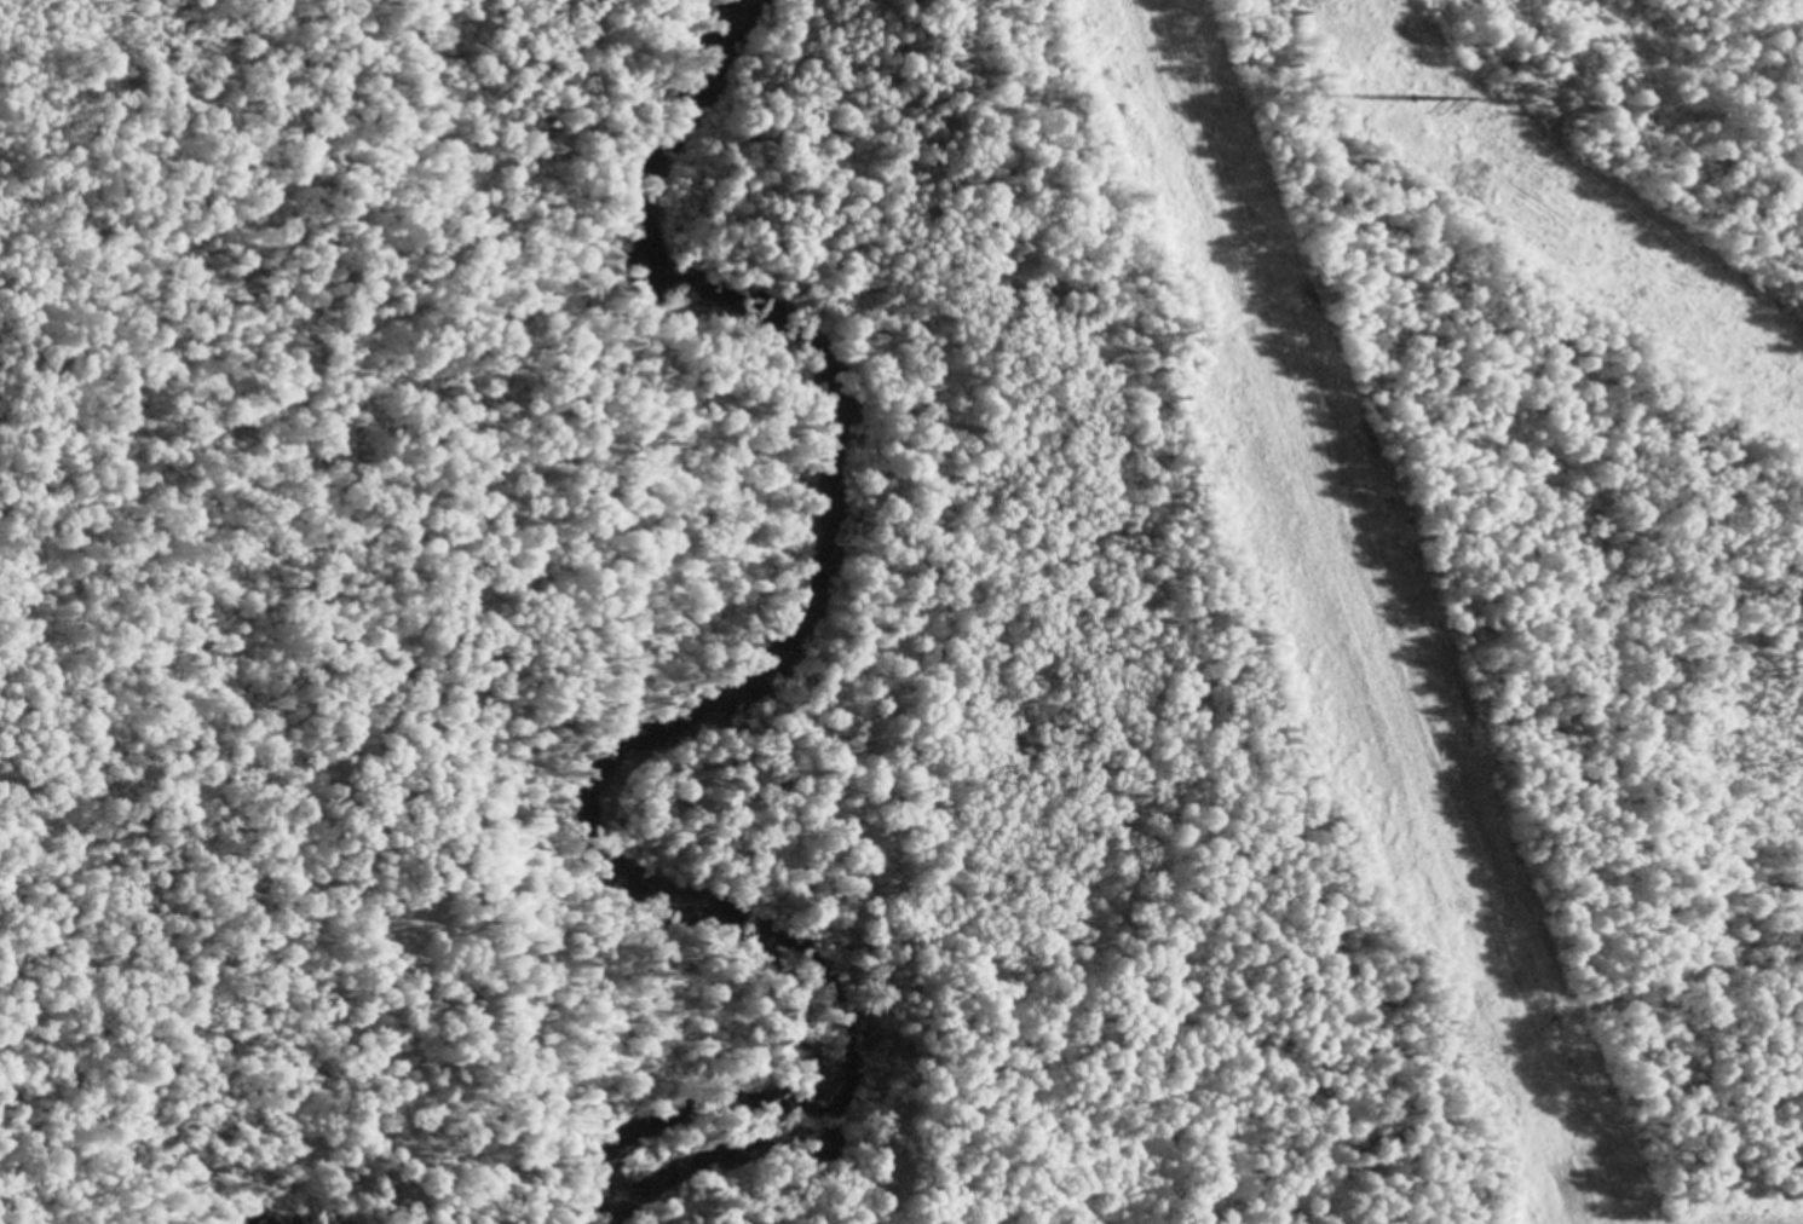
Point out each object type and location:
power tower: (1413, 98)

